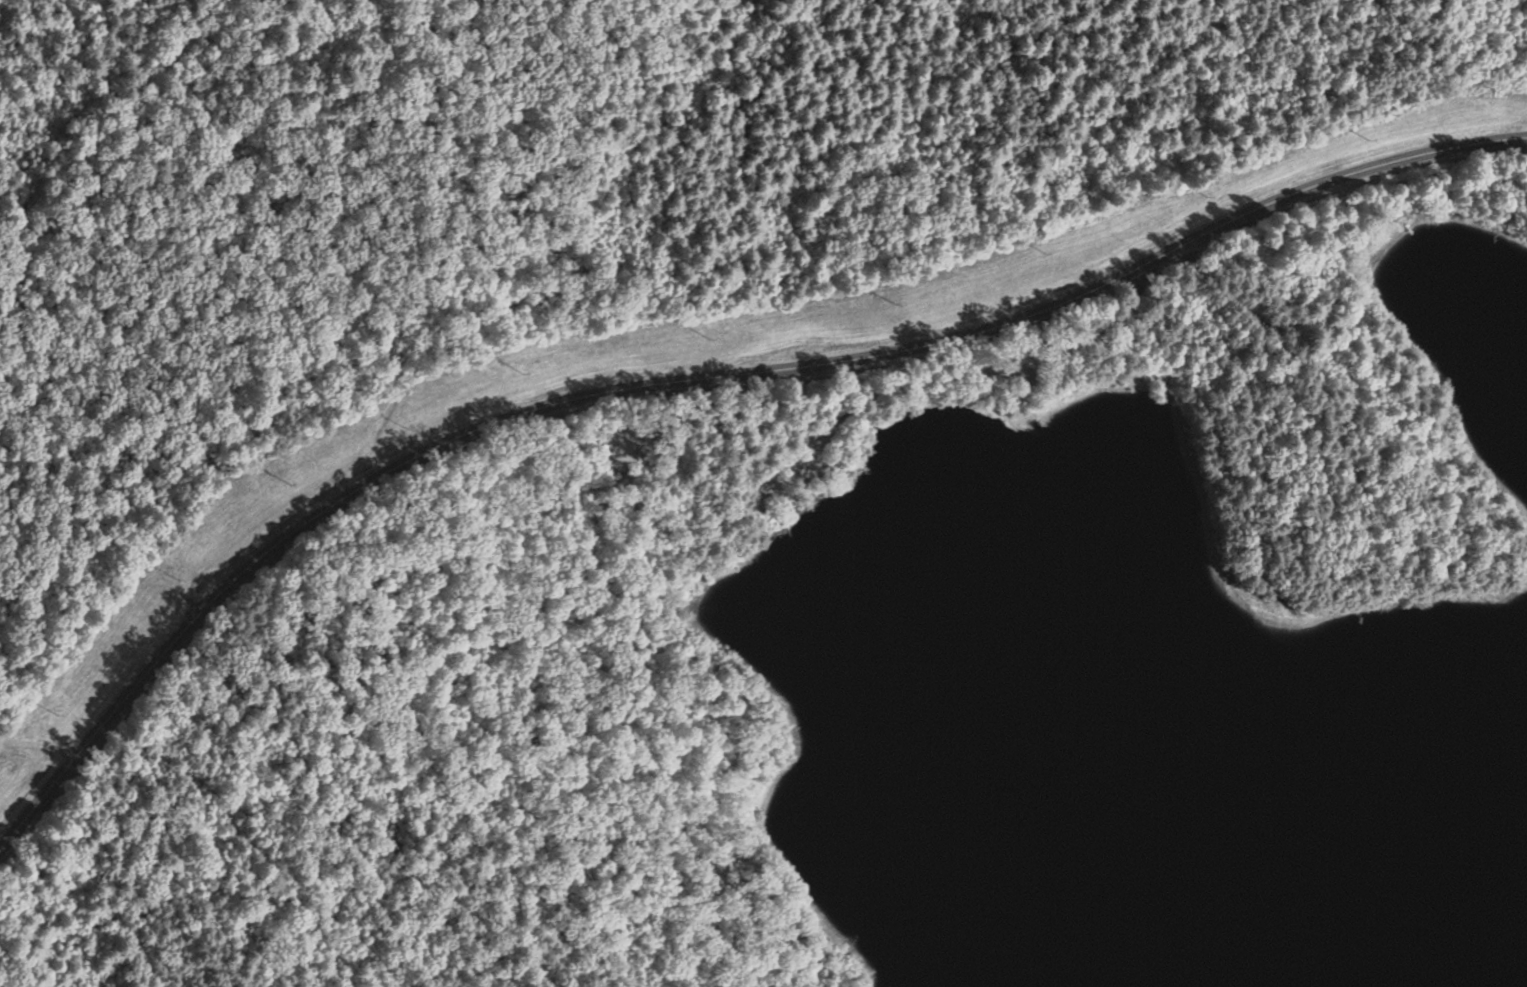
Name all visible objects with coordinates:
road: (694, 379)

